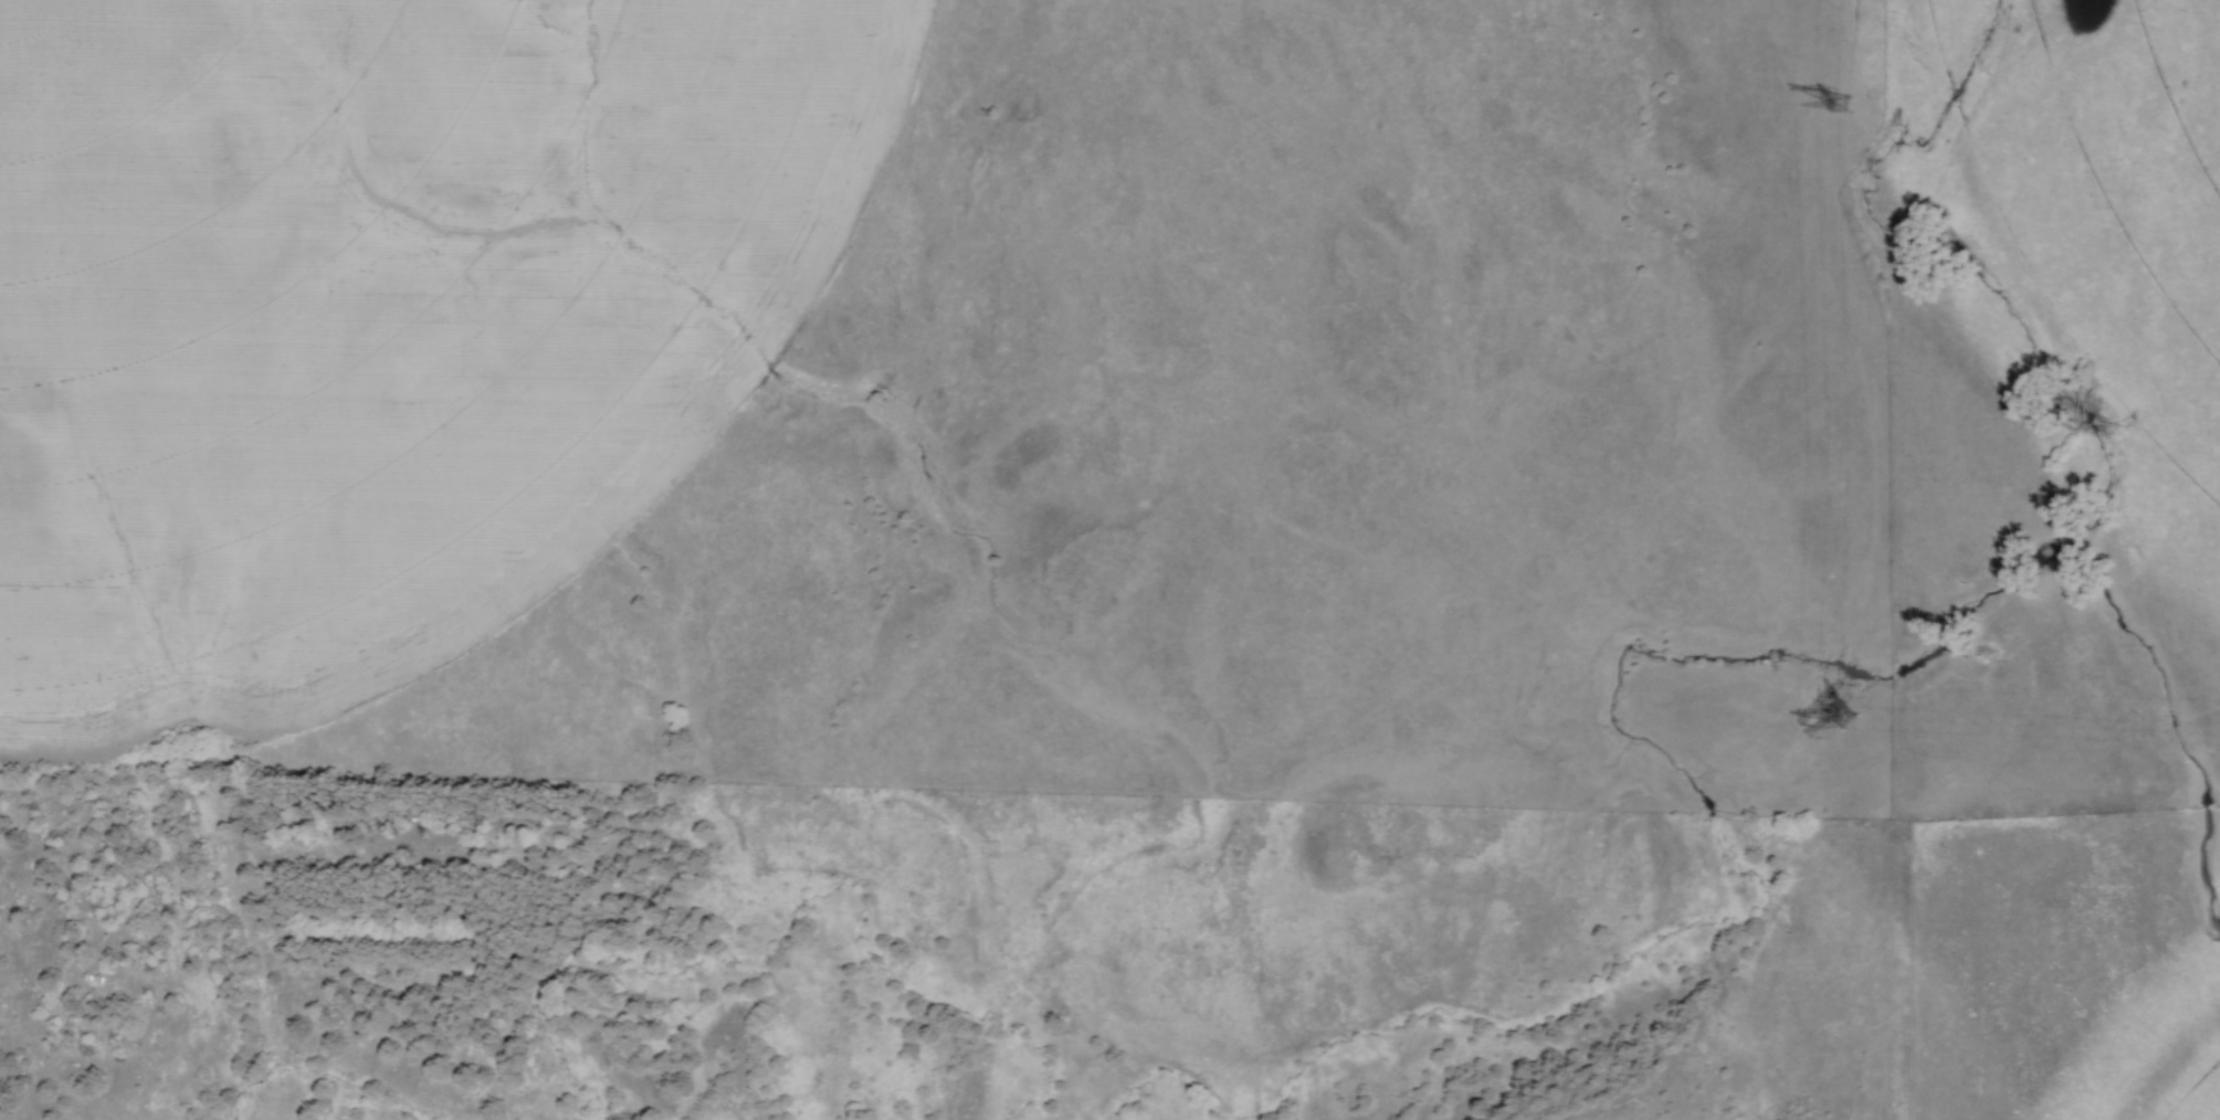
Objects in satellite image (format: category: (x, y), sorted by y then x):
power tower: (1835, 105)
power tower: (1841, 717)

